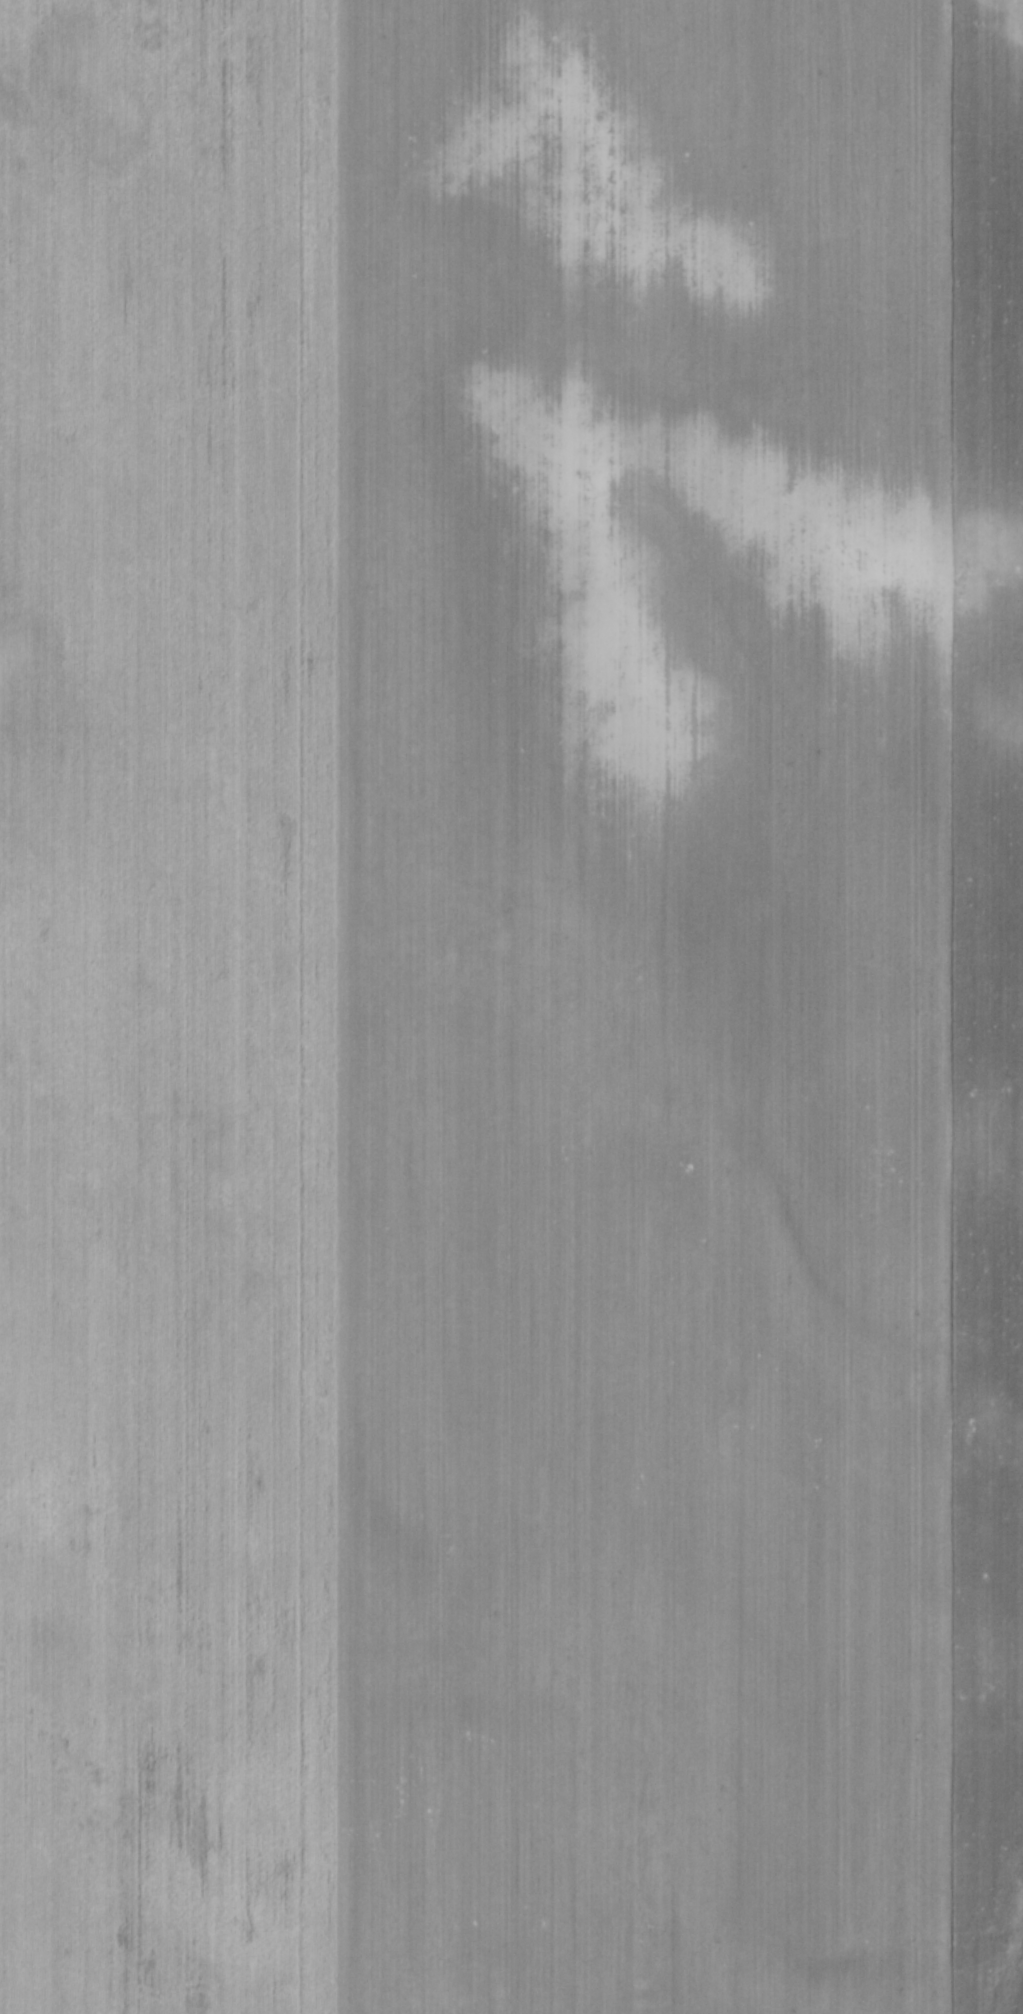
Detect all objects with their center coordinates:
crop: (511, 1007)

